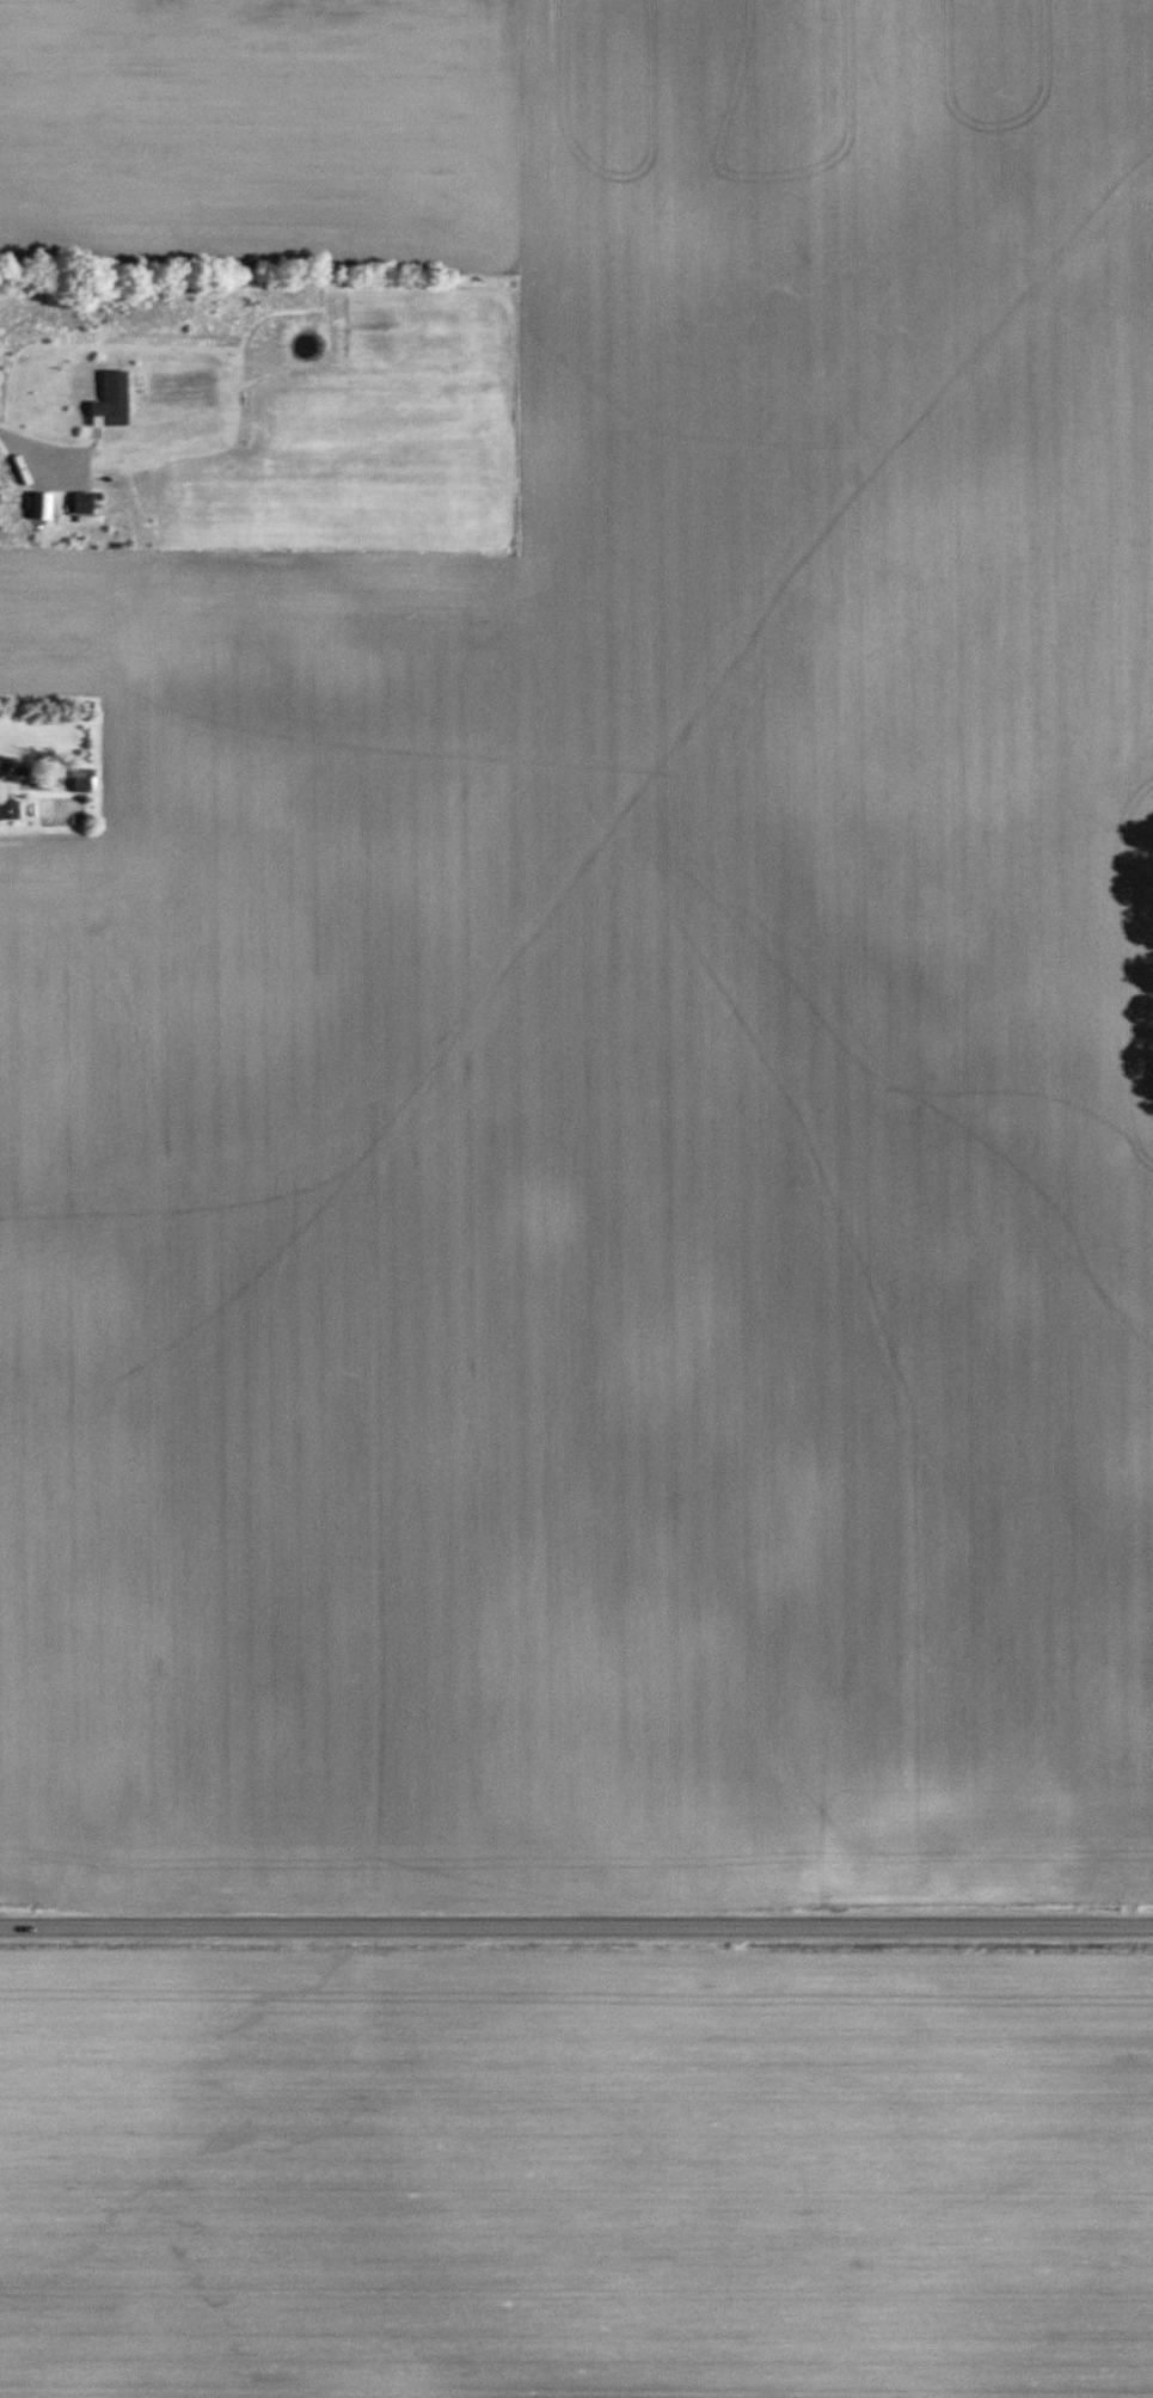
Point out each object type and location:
road: (26, 440)
building: (82, 783)
road: (6, 784)
building: (8, 810)
road: (576, 1924)

